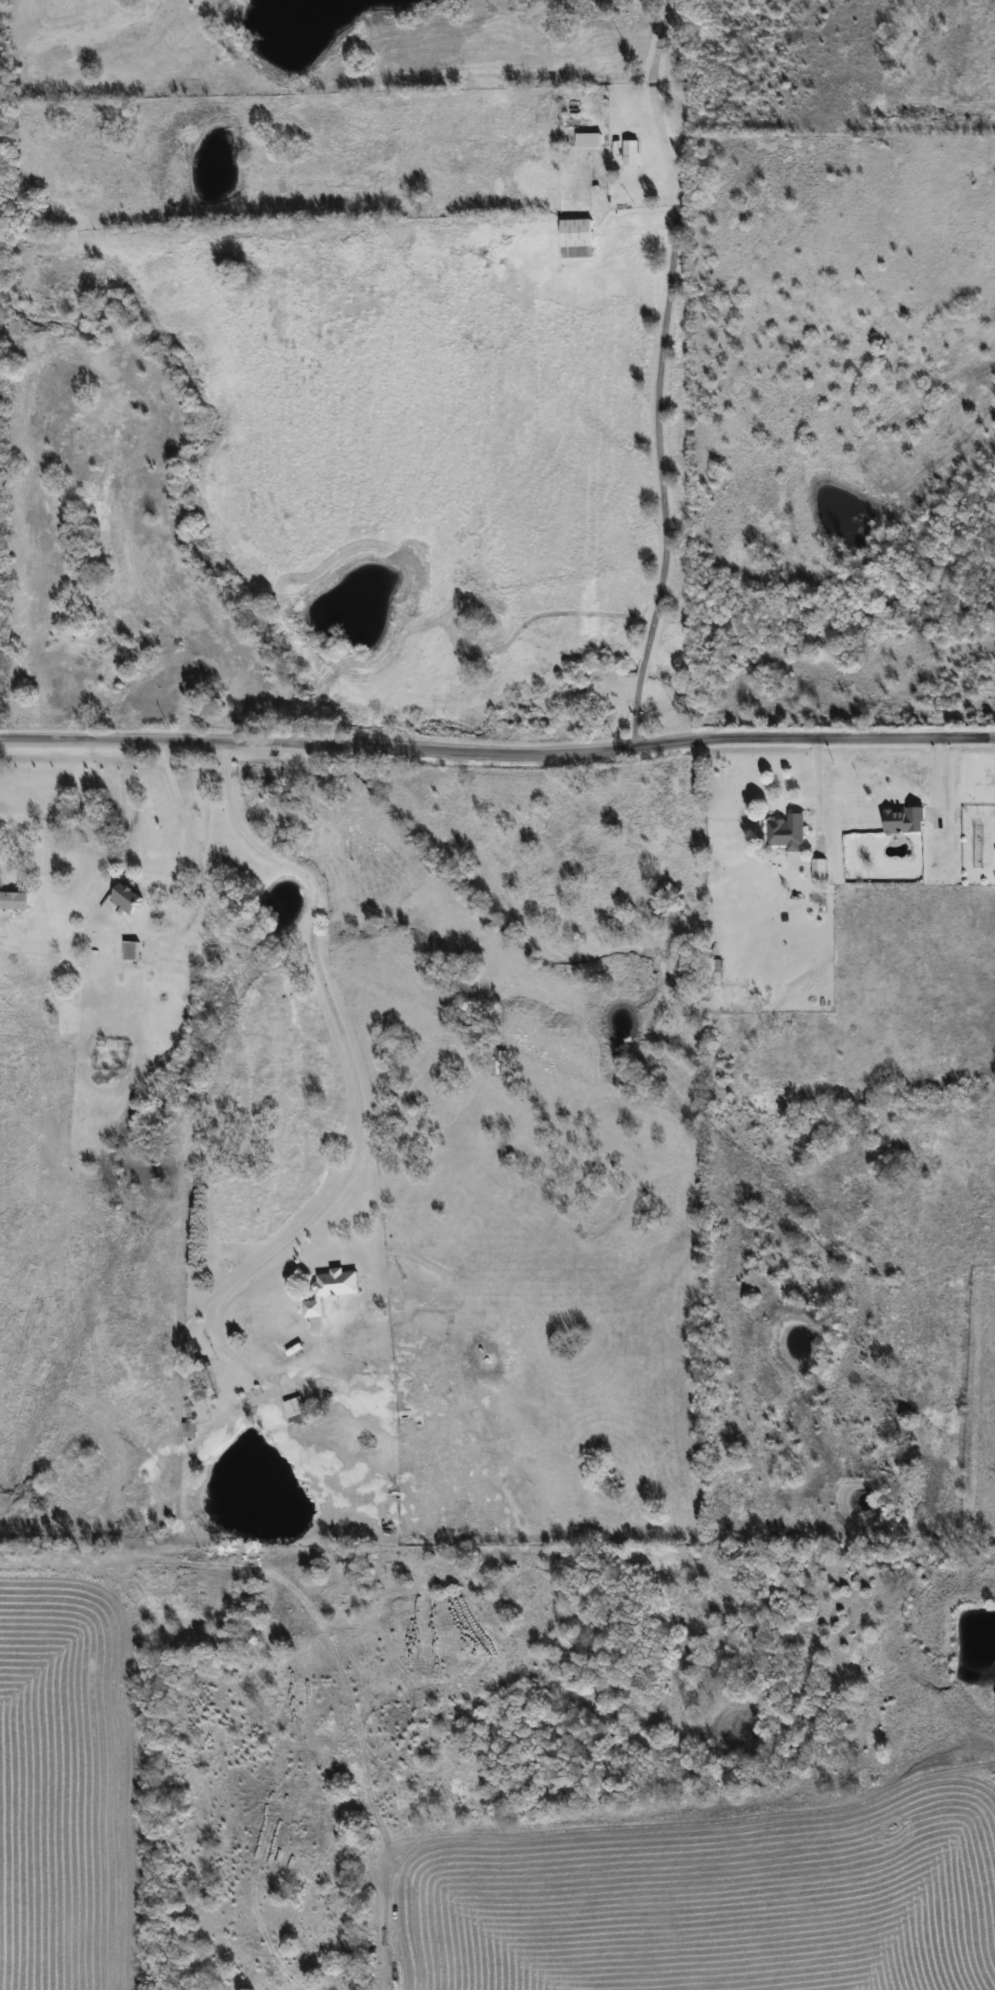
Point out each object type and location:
building: (629, 154)
building: (574, 238)
road: (653, 374)
road: (497, 754)
road: (176, 803)
building: (901, 820)
building: (785, 832)
building: (817, 868)
building: (126, 897)
building: (13, 901)
building: (129, 950)
building: (501, 1058)
road: (355, 1085)
building: (330, 1290)
building: (293, 1408)

